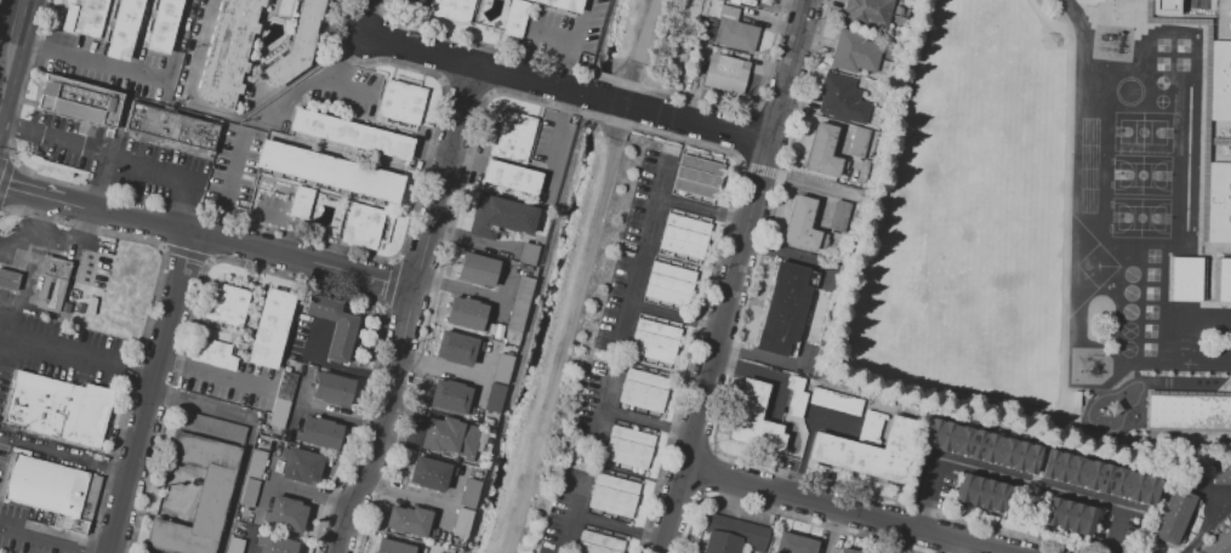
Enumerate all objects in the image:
building: (414, 1)
building: (352, 2)
building: (564, 4)
building: (1163, 5)
building: (451, 8)
building: (867, 11)
building: (82, 17)
building: (514, 17)
road: (371, 18)
road: (1221, 18)
road: (1167, 19)
road: (1209, 19)
building: (163, 24)
road: (1081, 27)
building: (122, 29)
road: (549, 36)
building: (735, 36)
road: (11, 41)
road: (570, 41)
building: (297, 44)
road: (421, 50)
building: (855, 51)
building: (228, 52)
road: (127, 72)
building: (724, 73)
road: (321, 74)
building: (1220, 81)
road: (342, 87)
building: (842, 99)
road: (905, 99)
building: (78, 101)
building: (400, 102)
road: (619, 103)
road: (255, 106)
building: (170, 130)
park: (1141, 131)
building: (351, 135)
building: (513, 135)
road: (1204, 135)
road: (745, 136)
road: (1218, 139)
building: (857, 142)
road: (554, 143)
building: (822, 152)
road: (121, 156)
road: (740, 164)
track: (1087, 165)
road: (758, 170)
building: (329, 171)
park: (1140, 175)
road: (443, 176)
building: (512, 177)
building: (697, 177)
road: (99, 181)
road: (228, 186)
road: (826, 188)
building: (300, 203)
building: (1219, 203)
road: (702, 207)
road: (257, 216)
building: (839, 216)
building: (500, 217)
park: (1139, 217)
building: (800, 224)
building: (361, 227)
building: (684, 235)
road: (206, 236)
road: (472, 241)
road: (1216, 247)
road: (644, 249)
road: (16, 255)
building: (528, 255)
park: (1084, 266)
building: (478, 270)
road: (28, 273)
park: (1129, 273)
road: (730, 275)
building: (1184, 278)
building: (1223, 279)
building: (7, 280)
gas station: (7, 280)
building: (52, 284)
building: (669, 284)
road: (460, 287)
road: (1207, 287)
park: (1129, 292)
road: (502, 300)
building: (226, 303)
building: (519, 304)
building: (782, 308)
park: (1128, 310)
building: (465, 313)
building: (334, 326)
building: (270, 329)
park: (1128, 330)
building: (654, 341)
building: (456, 347)
park: (1127, 348)
building: (211, 353)
road: (70, 355)
road: (331, 366)
road: (439, 369)
building: (502, 369)
road: (212, 376)
road: (480, 380)
building: (332, 390)
road: (958, 390)
building: (642, 392)
road: (147, 393)
building: (450, 395)
building: (794, 395)
building: (495, 398)
road: (297, 401)
building: (834, 401)
road: (603, 405)
track: (1115, 407)
building: (58, 410)
building: (1186, 411)
road: (337, 415)
building: (754, 418)
road: (645, 421)
road: (378, 422)
building: (211, 427)
building: (871, 427)
road: (250, 433)
building: (320, 433)
building: (450, 438)
road: (805, 441)
building: (980, 445)
building: (628, 447)
building: (868, 451)
road: (63, 454)
building: (255, 463)
building: (301, 467)
building: (428, 473)
building: (1221, 477)
building: (1099, 478)
road: (1018, 480)
road: (267, 483)
building: (44, 486)
building: (247, 492)
building: (469, 494)
building: (980, 494)
road: (405, 495)
building: (198, 496)
road: (308, 496)
building: (612, 496)
road: (446, 507)
road: (840, 511)
road: (571, 512)
building: (285, 514)
building: (1066, 517)
building: (1173, 517)
building: (409, 520)
building: (462, 523)
road: (1207, 525)
road: (616, 528)
road: (833, 531)
building: (731, 535)
road: (47, 538)
road: (897, 540)
building: (598, 543)
building: (1219, 543)
building: (233, 545)
building: (277, 545)
building: (793, 545)
road: (252, 546)
road: (944, 546)
building: (392, 547)
building: (847, 551)
building: (147, 552)

